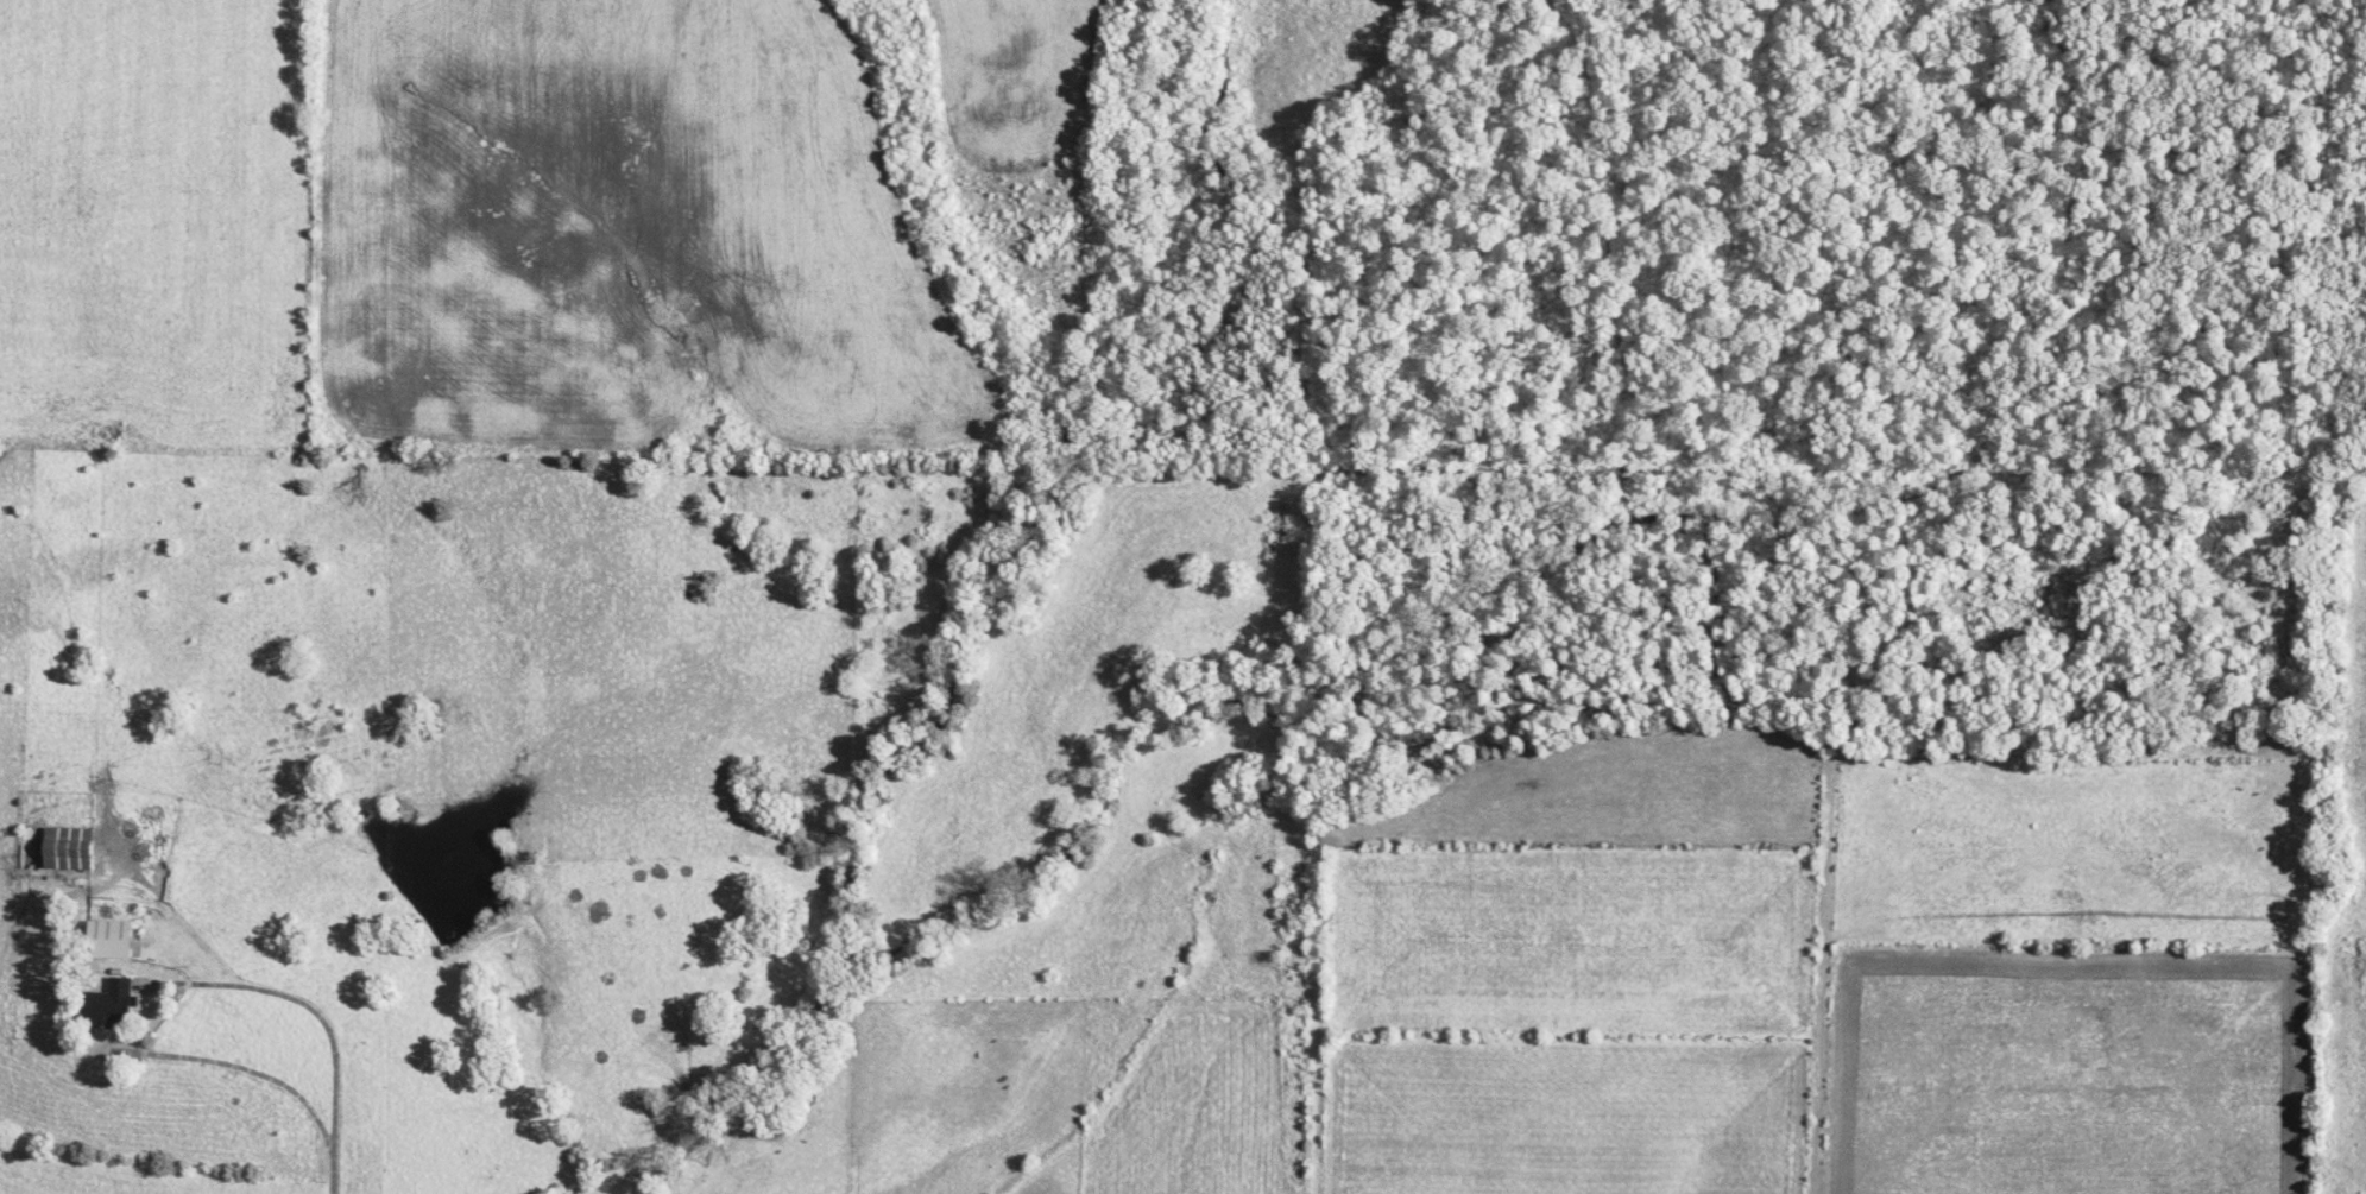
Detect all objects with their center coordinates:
building: (75, 849)
building: (119, 941)
road: (228, 990)
building: (120, 1006)
road: (264, 1086)

